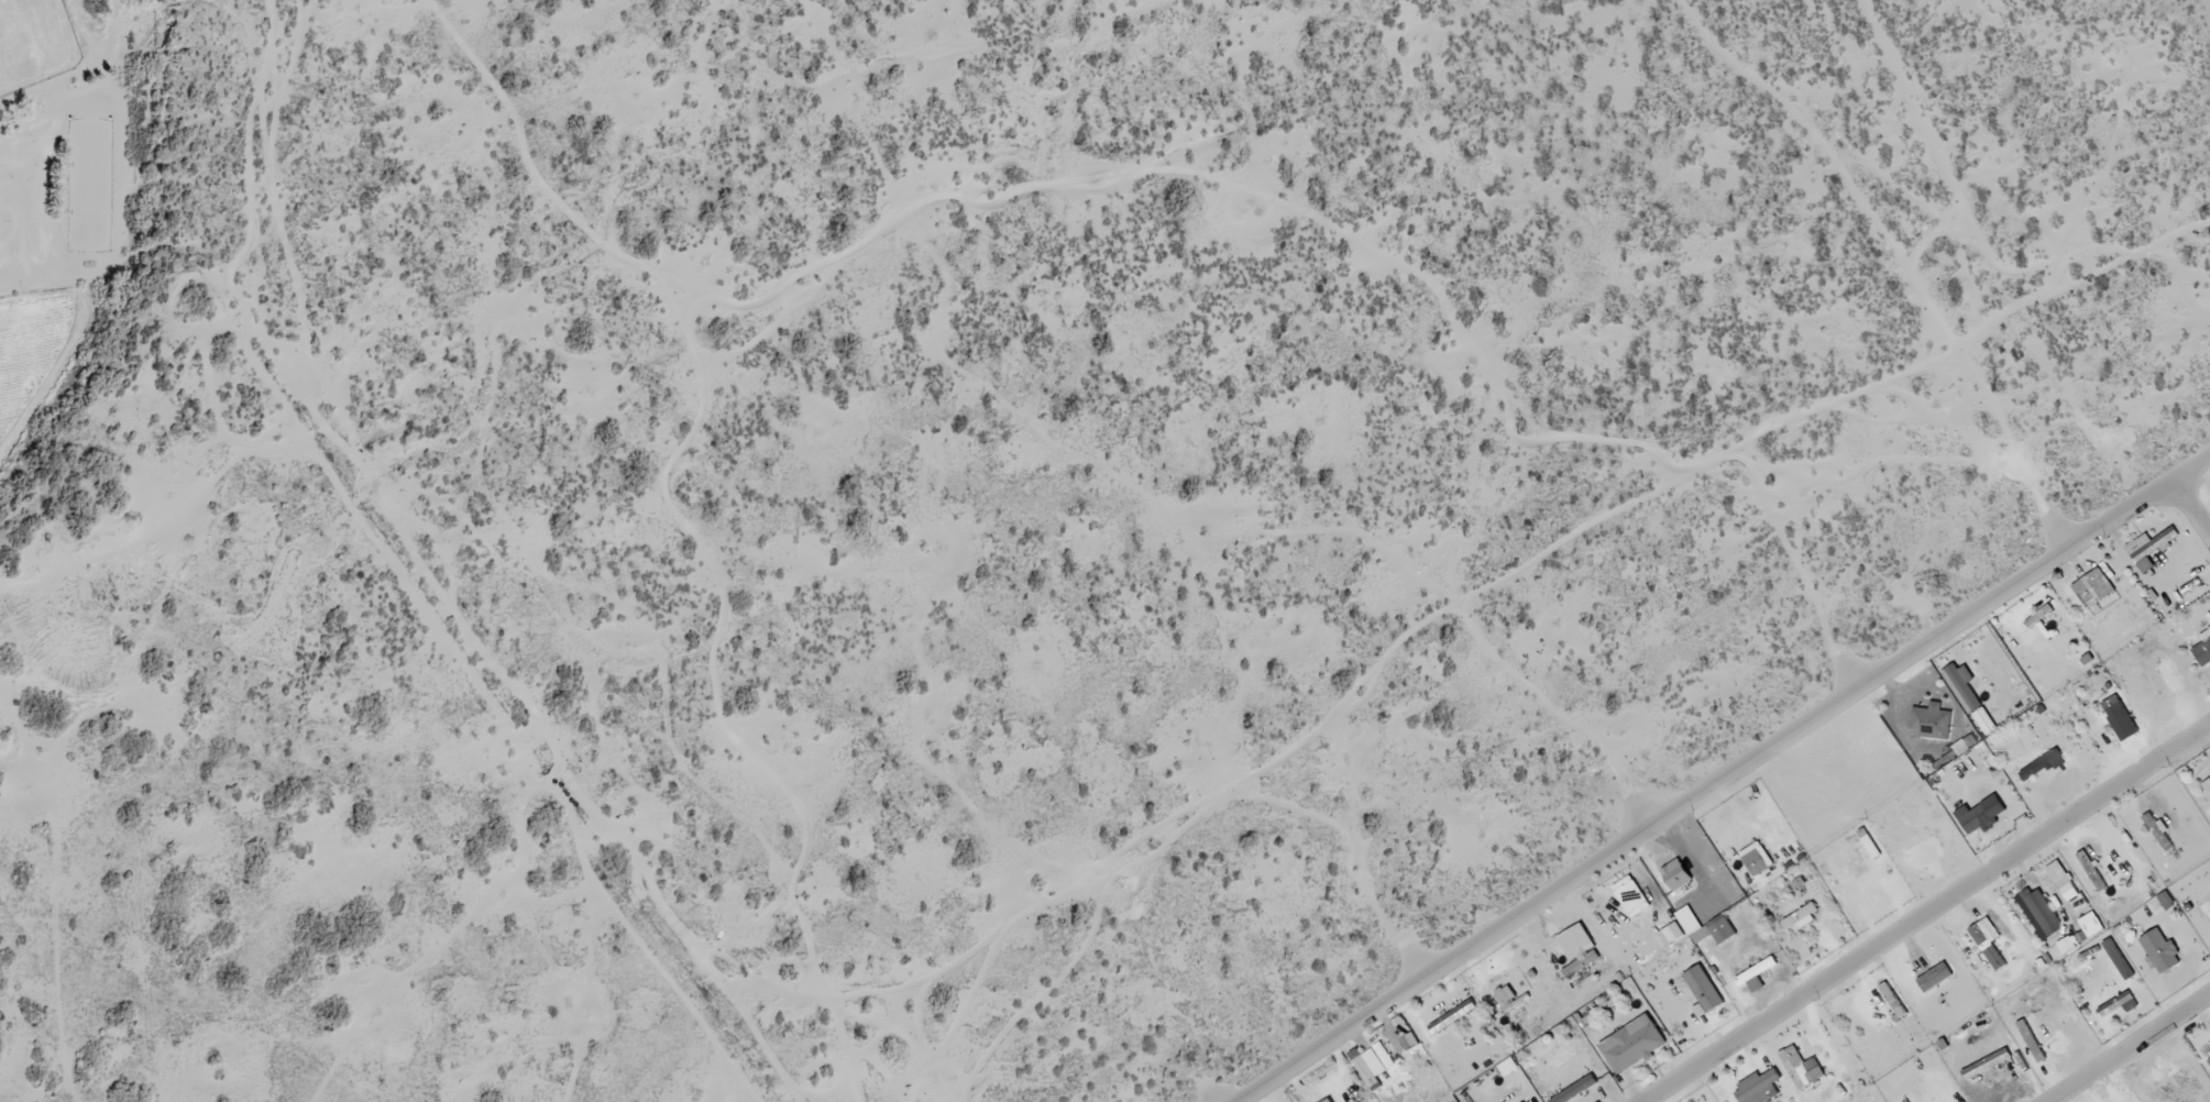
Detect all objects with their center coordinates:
road: (2184, 488)
road: (2049, 517)
building: (2148, 549)
building: (2203, 650)
road: (1840, 655)
building: (1970, 697)
building: (2113, 706)
building: (1932, 721)
building: (1964, 745)
building: (2041, 764)
road: (1709, 768)
building: (2207, 787)
road: (1634, 795)
building: (1975, 819)
building: (2156, 830)
building: (1756, 863)
building: (1675, 875)
building: (2061, 881)
building: (1630, 896)
road: (1911, 902)
building: (2042, 913)
building: (1801, 917)
building: (2090, 925)
building: (1714, 932)
building: (1671, 935)
building: (1576, 943)
building: (1987, 943)
road: (1408, 945)
building: (2066, 946)
building: (2159, 951)
building: (1756, 972)
building: (1934, 978)
building: (1703, 989)
building: (1505, 1000)
building: (2118, 1005)
building: (1452, 1017)
road: (2112, 1037)
building: (1409, 1042)
building: (1632, 1045)
building: (2209, 1062)
building: (1986, 1065)
building: (1801, 1068)
road: (1206, 1080)
building: (1758, 1088)
building: (1328, 1101)

